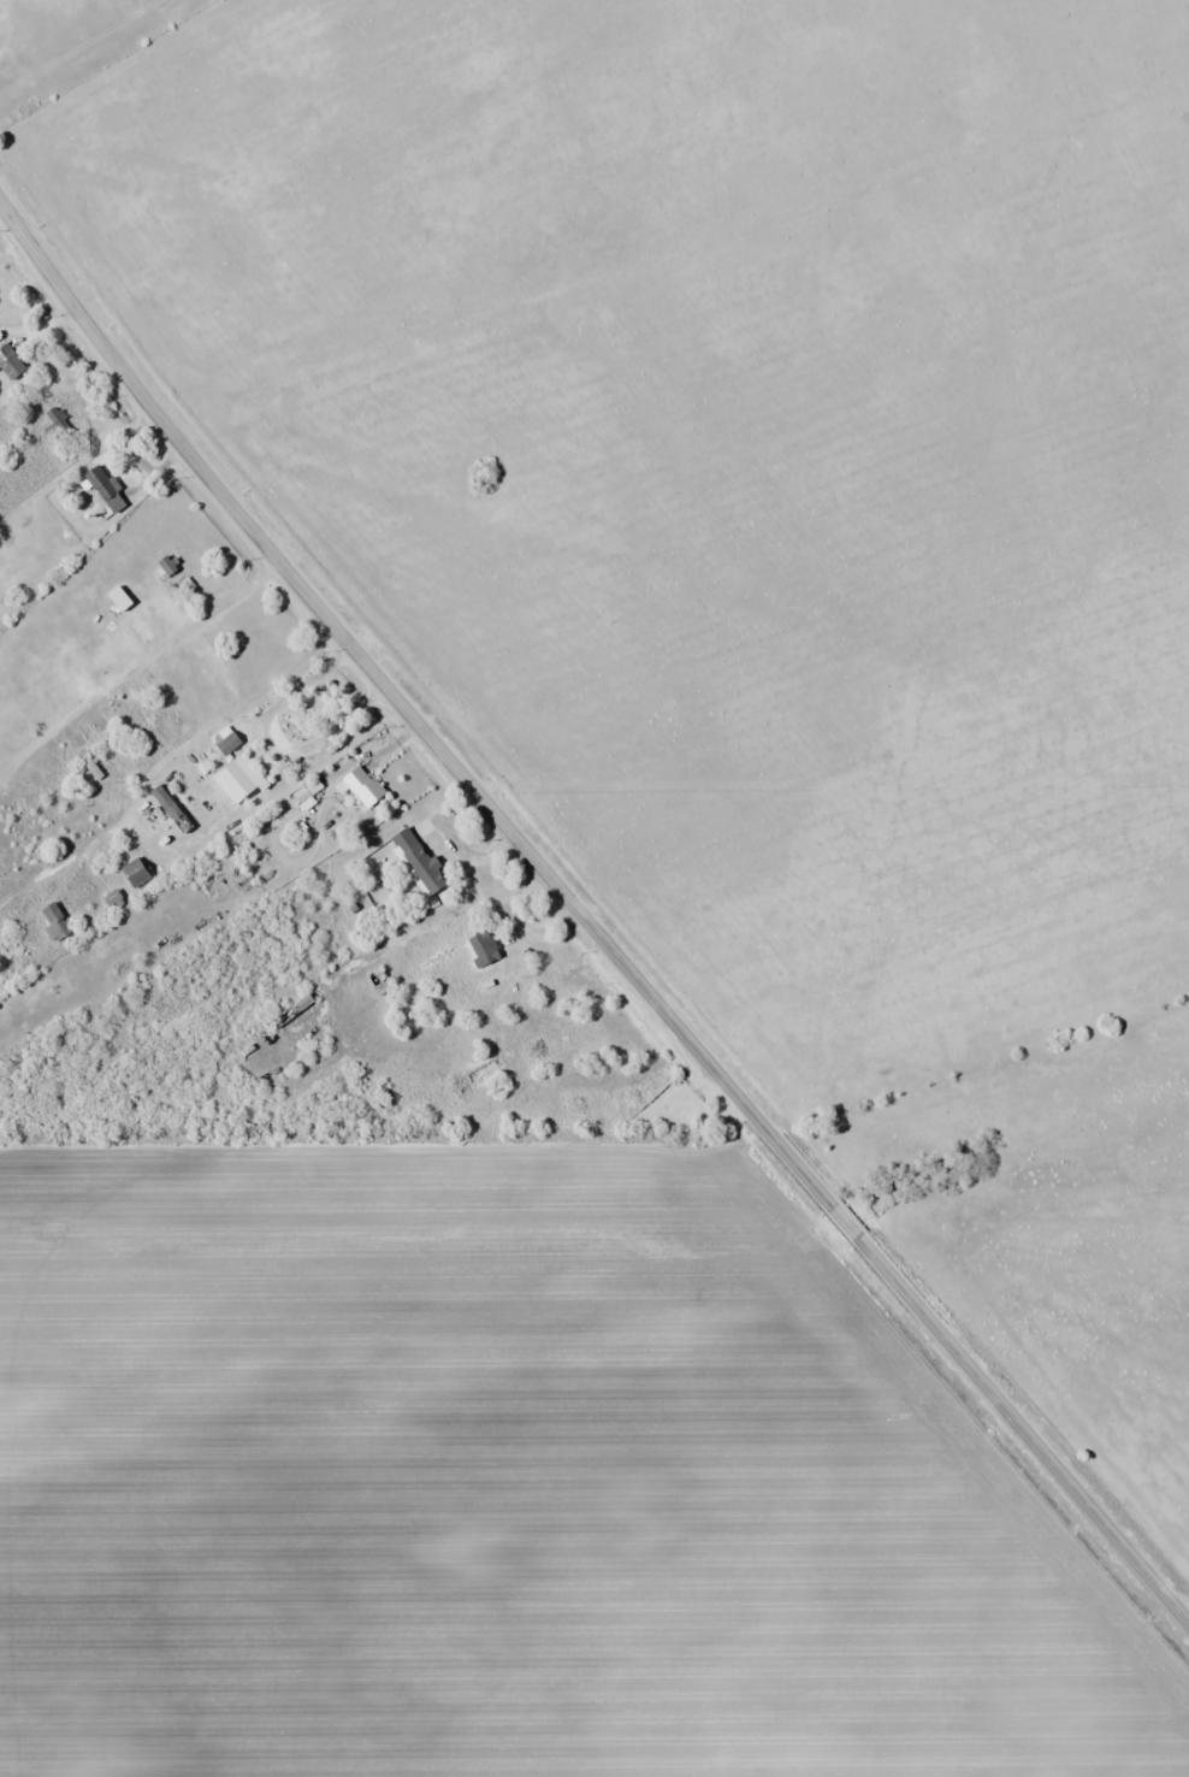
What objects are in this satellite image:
road: (8, 220)
building: (10, 361)
building: (58, 426)
building: (106, 489)
building: (165, 567)
building: (119, 598)
building: (219, 678)
building: (149, 724)
building: (226, 742)
building: (116, 752)
building: (238, 779)
building: (363, 786)
building: (66, 795)
building: (171, 808)
building: (419, 861)
building: (136, 872)
building: (55, 922)
road: (597, 934)
building: (483, 949)
building: (291, 1010)

